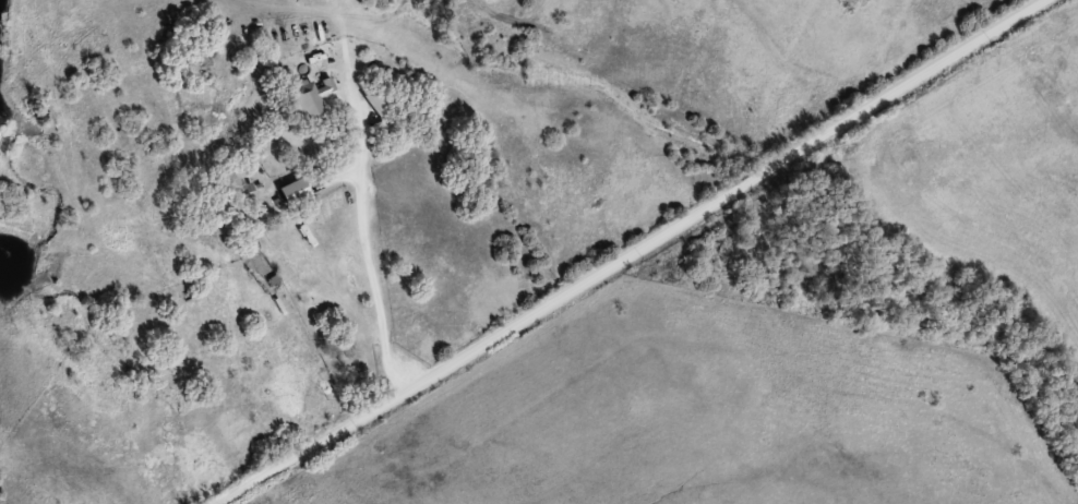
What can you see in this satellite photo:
building: (310, 96)
building: (381, 98)
road: (643, 253)
power tower: (923, 311)

